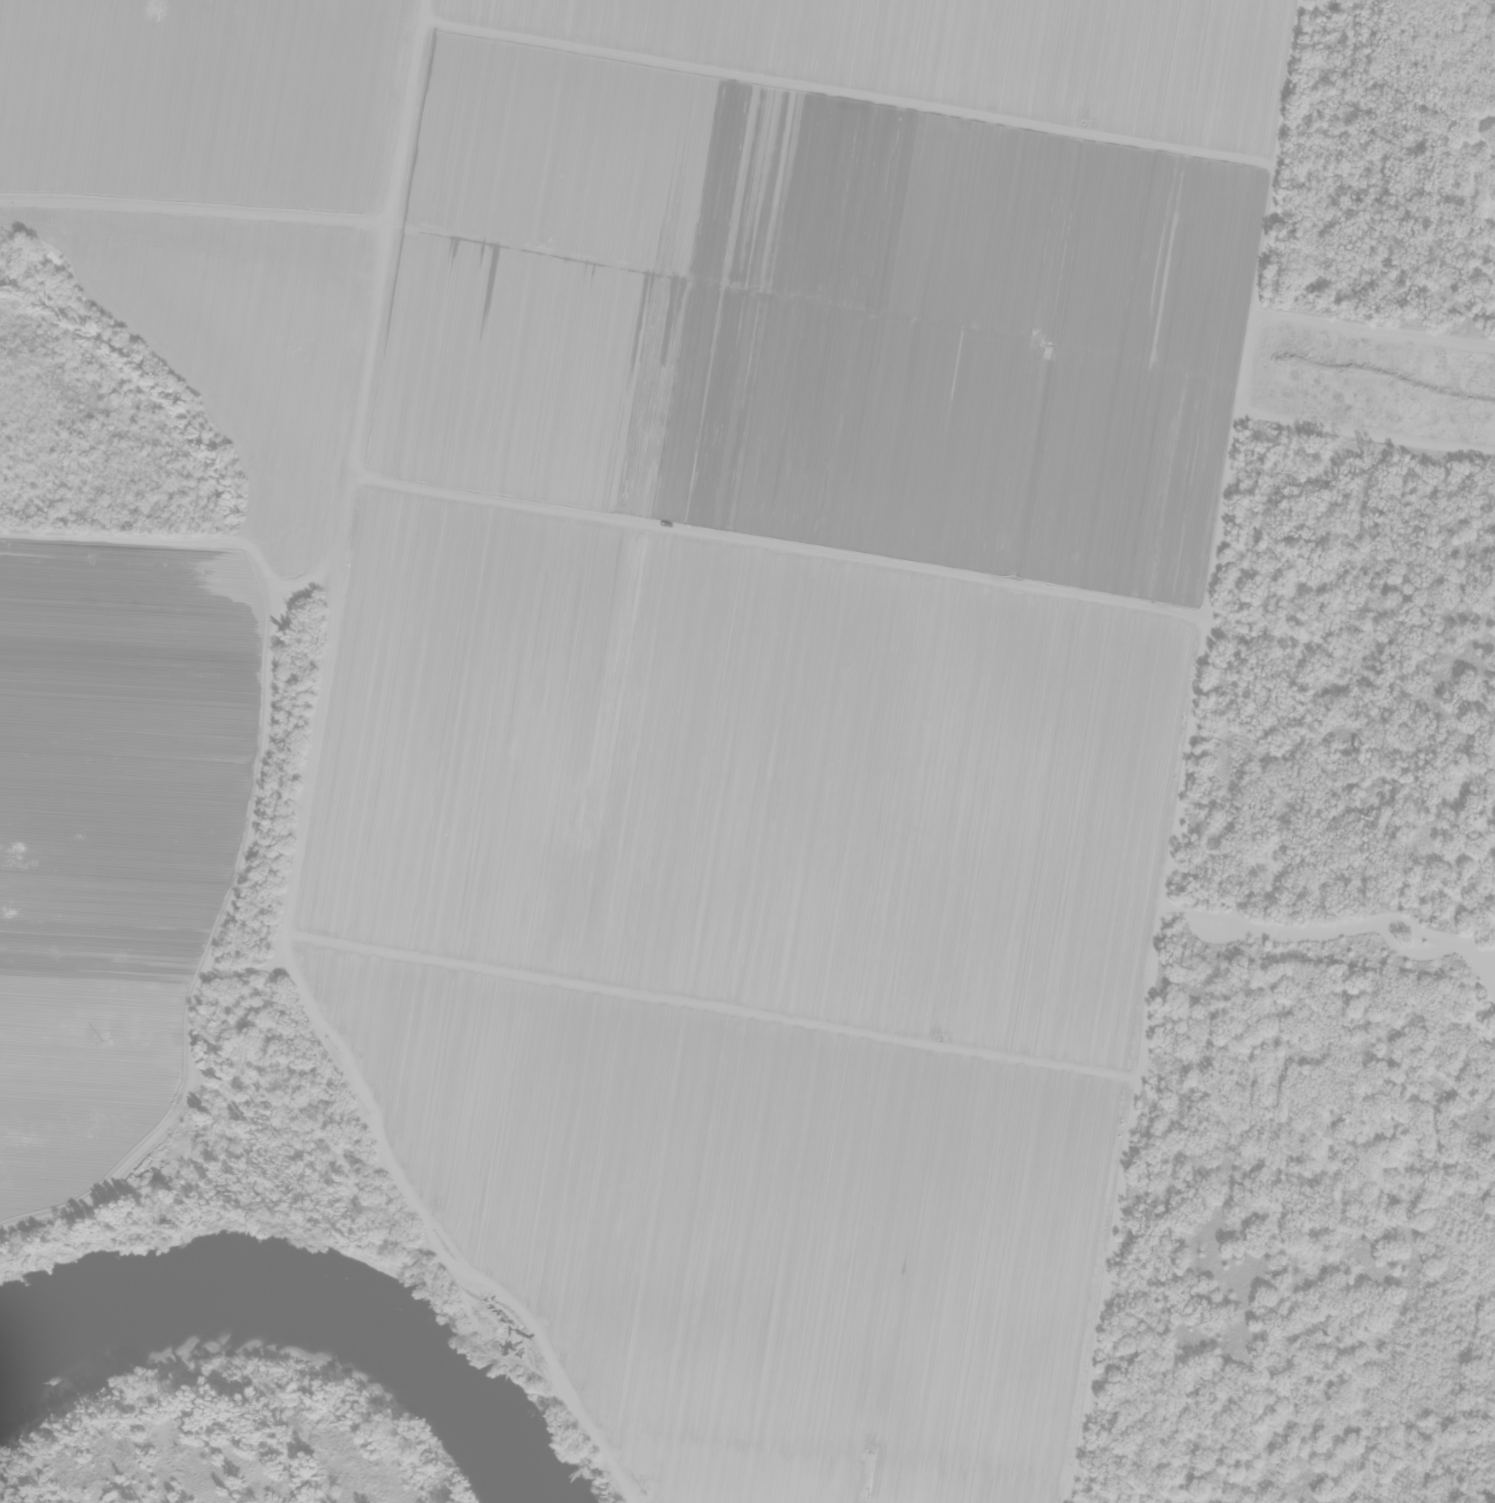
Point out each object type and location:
road: (425, 217)
river: (285, 1320)

